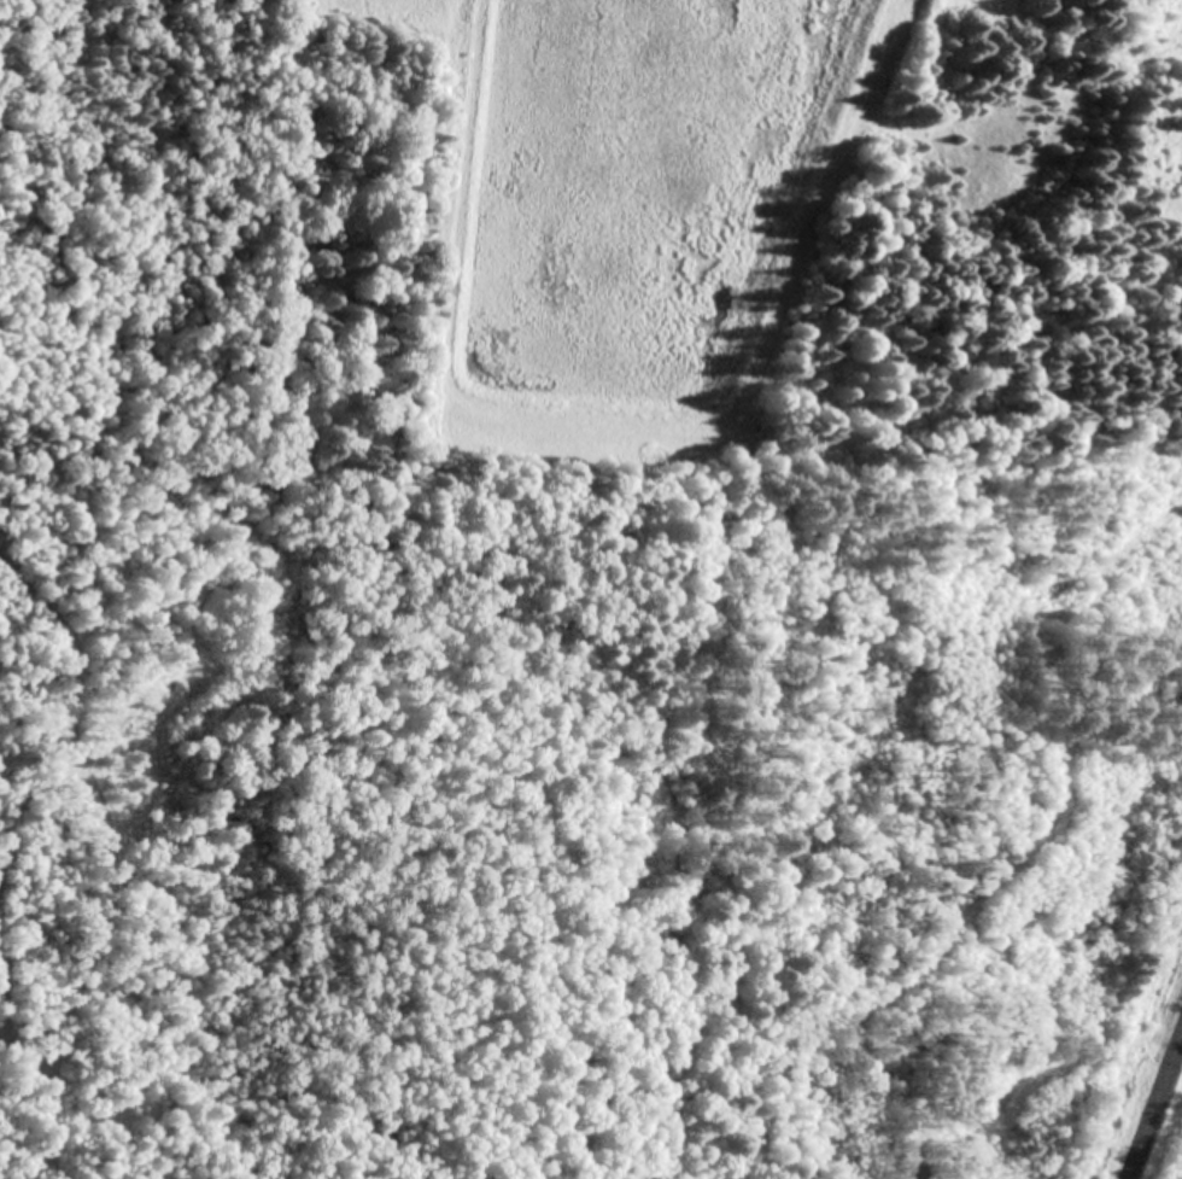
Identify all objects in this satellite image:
road: (1154, 1105)

